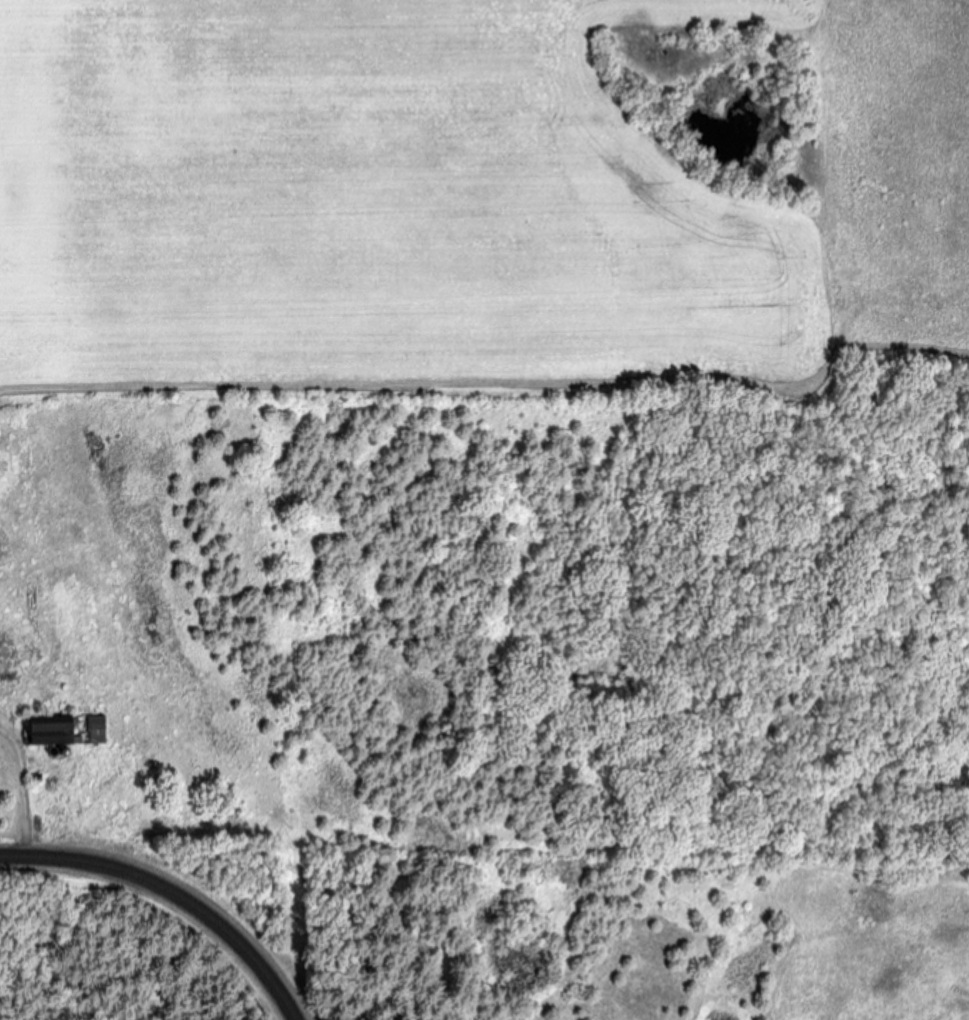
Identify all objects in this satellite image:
building: (68, 730)
road: (171, 893)

